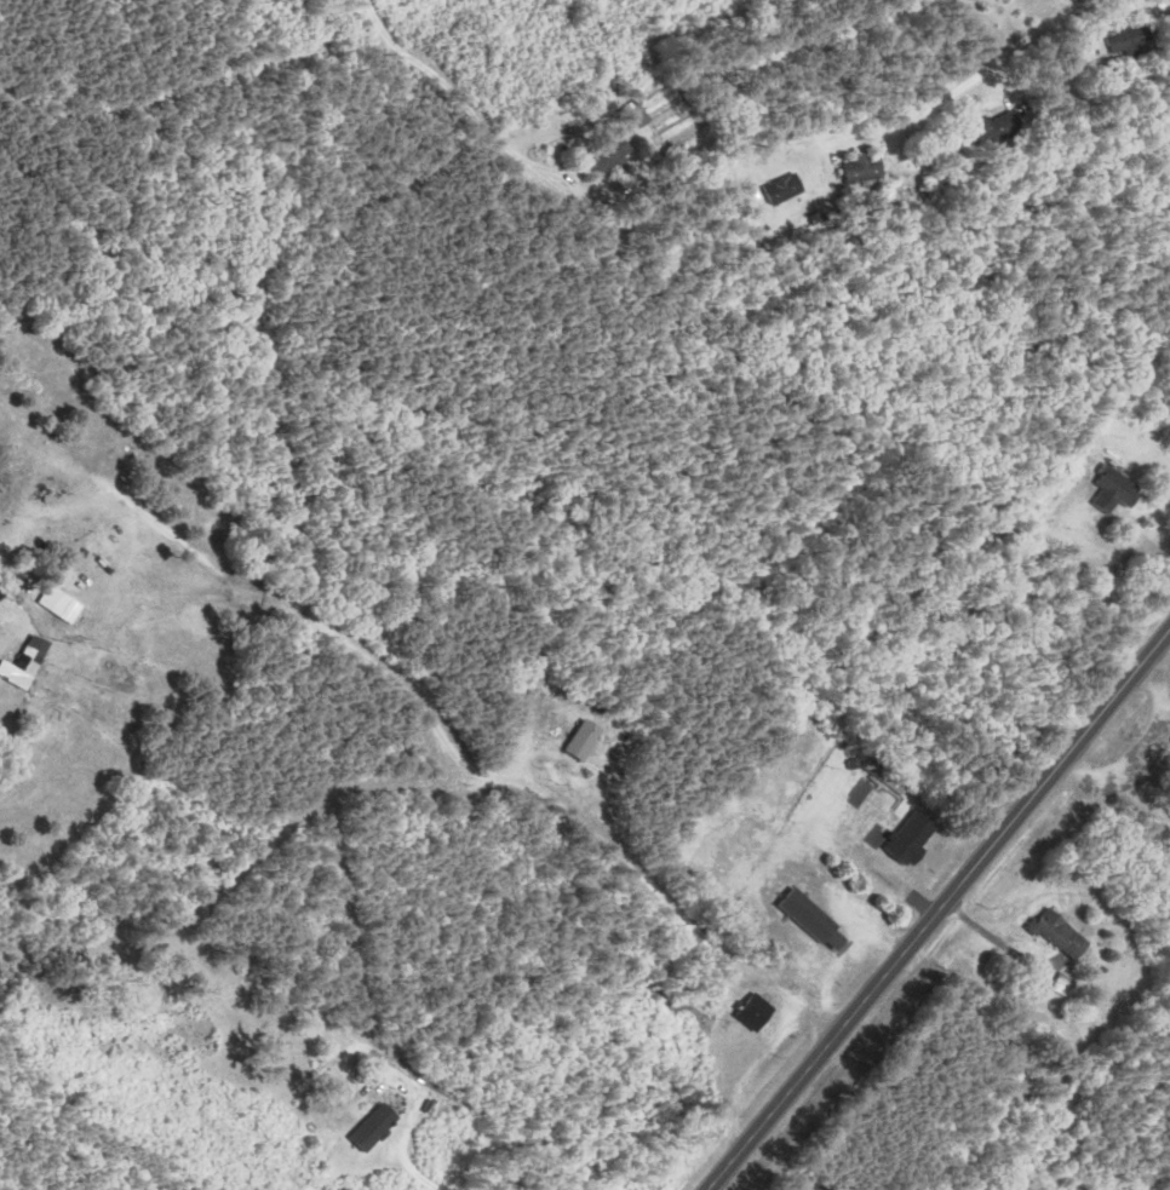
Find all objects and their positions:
building: (1132, 41)
road: (931, 105)
building: (640, 119)
building: (1000, 128)
building: (612, 157)
building: (866, 174)
building: (786, 190)
building: (1117, 489)
building: (35, 656)
building: (585, 741)
building: (884, 777)
building: (913, 838)
road: (936, 908)
building: (816, 922)
building: (1062, 936)
building: (755, 1013)
building: (372, 1133)

